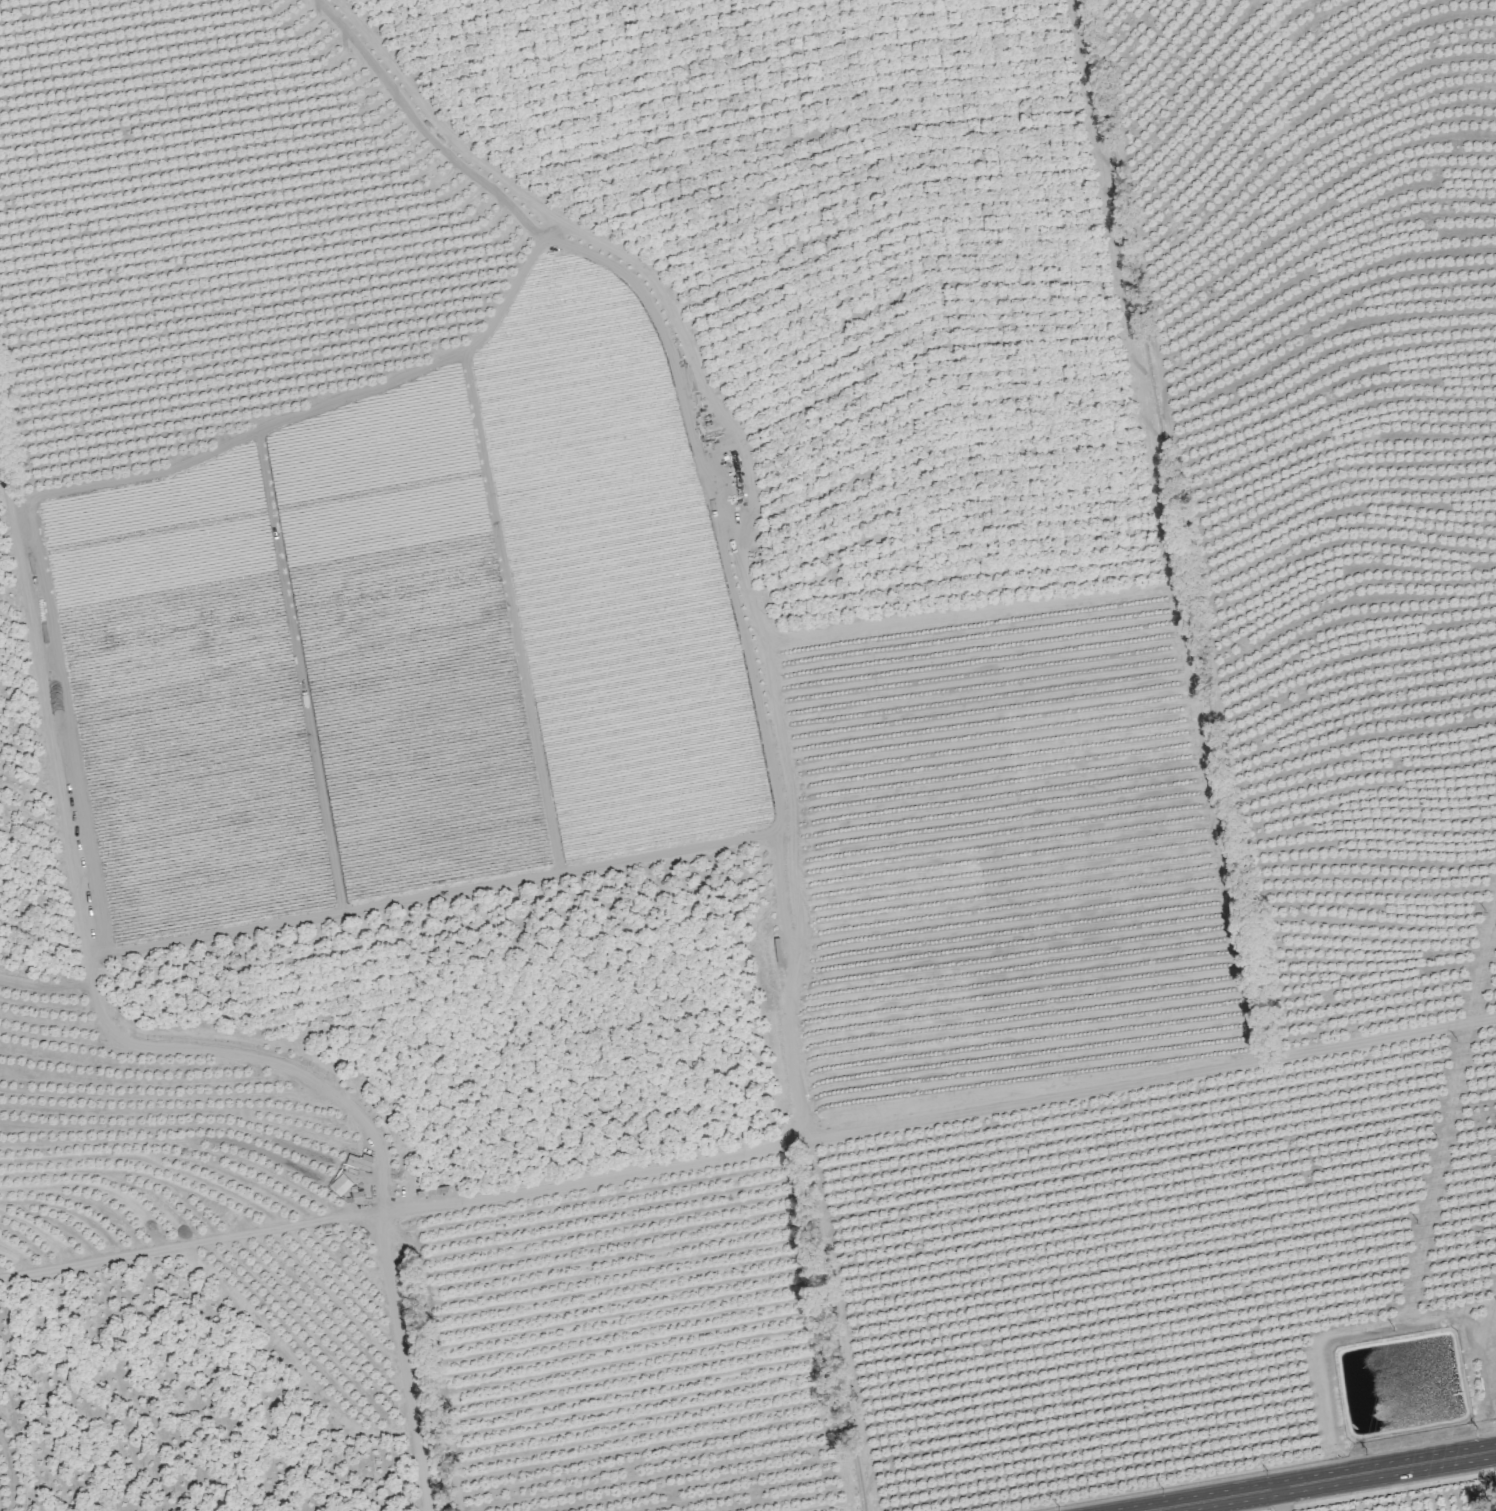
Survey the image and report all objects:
road: (176, 1048)
building: (359, 1161)
building: (339, 1184)
power tower: (1492, 1343)
road: (1320, 1480)
road: (1388, 1491)
road: (1279, 1499)
road: (1275, 1510)

